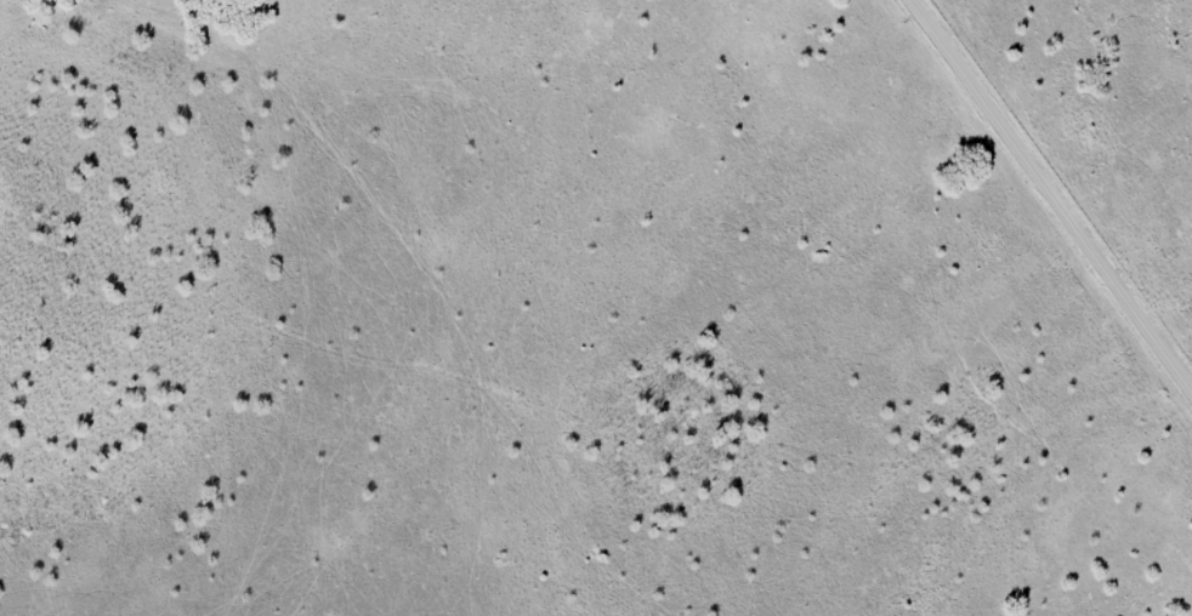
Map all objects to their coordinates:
road: (1055, 188)

